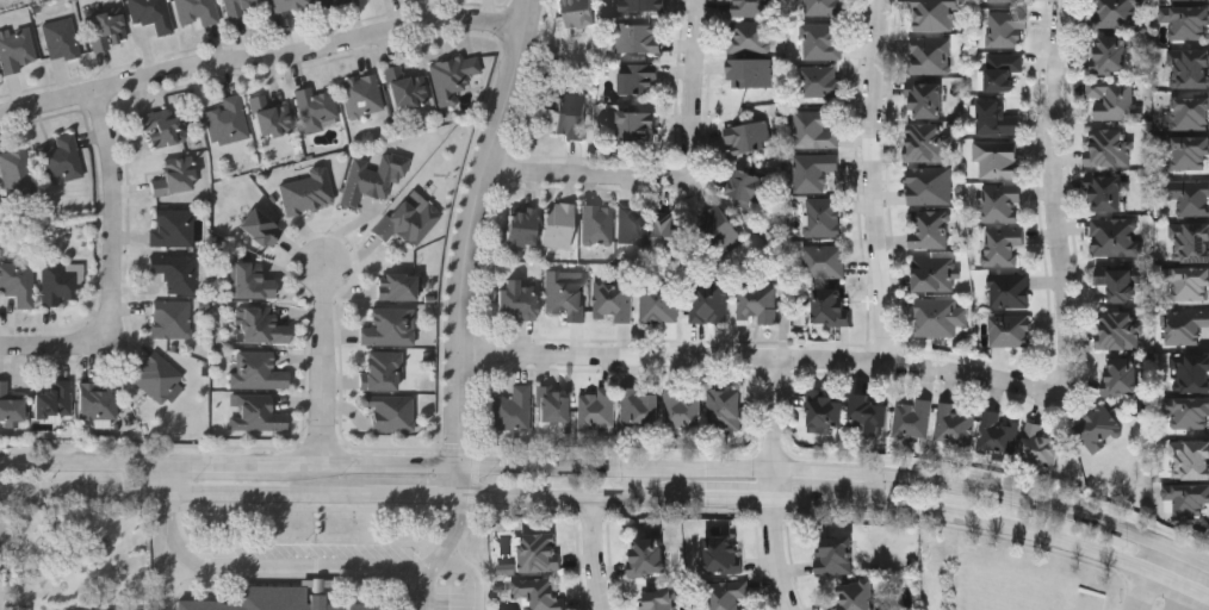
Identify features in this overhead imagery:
building: (1005, 0)
building: (1182, 0)
building: (331, 2)
building: (641, 5)
building: (289, 6)
building: (754, 7)
building: (826, 7)
building: (237, 8)
building: (198, 11)
building: (579, 12)
building: (934, 13)
building: (1116, 13)
building: (153, 14)
building: (1189, 23)
building: (1007, 27)
building: (106, 30)
building: (749, 36)
building: (638, 37)
building: (61, 39)
building: (820, 41)
building: (15, 49)
building: (1112, 54)
building: (930, 55)
road: (263, 60)
building: (1189, 68)
building: (1003, 70)
building: (750, 73)
building: (453, 76)
building: (639, 79)
building: (820, 81)
building: (405, 88)
building: (362, 95)
building: (926, 100)
building: (1114, 100)
building: (316, 108)
building: (1191, 112)
building: (571, 116)
building: (271, 117)
building: (996, 118)
building: (228, 122)
building: (635, 125)
building: (162, 129)
building: (813, 130)
building: (748, 137)
building: (926, 143)
building: (1110, 148)
building: (1189, 152)
building: (62, 158)
building: (997, 158)
building: (813, 170)
building: (18, 172)
road: (675, 173)
building: (176, 176)
building: (368, 180)
road: (874, 180)
building: (929, 185)
building: (749, 186)
building: (308, 193)
building: (1106, 193)
building: (1189, 195)
building: (1002, 203)
road: (118, 216)
building: (823, 217)
building: (407, 222)
building: (633, 224)
building: (558, 225)
building: (522, 226)
building: (172, 228)
building: (597, 228)
building: (929, 228)
building: (260, 229)
road: (479, 229)
building: (720, 230)
building: (669, 231)
building: (1117, 237)
building: (1191, 242)
building: (1003, 247)
building: (824, 260)
building: (175, 272)
building: (935, 273)
building: (250, 281)
building: (18, 282)
building: (60, 284)
building: (1190, 284)
building: (1121, 285)
building: (397, 286)
building: (1010, 290)
building: (564, 295)
building: (614, 299)
building: (708, 299)
building: (517, 300)
building: (659, 303)
building: (756, 304)
building: (830, 305)
building: (940, 316)
building: (173, 318)
building: (1185, 325)
building: (262, 326)
building: (389, 328)
building: (1010, 330)
building: (1118, 330)
road: (56, 349)
road: (328, 365)
road: (954, 369)
building: (258, 372)
building: (383, 372)
building: (1190, 373)
building: (1122, 375)
building: (157, 378)
building: (55, 402)
building: (99, 402)
building: (554, 405)
building: (10, 406)
building: (641, 406)
building: (683, 407)
building: (597, 409)
building: (725, 409)
building: (513, 410)
building: (826, 411)
building: (391, 412)
building: (255, 413)
building: (869, 413)
building: (1188, 413)
building: (913, 418)
building: (955, 423)
building: (1098, 429)
building: (999, 432)
building: (1038, 444)
road: (21, 460)
building: (1190, 460)
road: (106, 461)
road: (229, 462)
road: (376, 463)
road: (584, 465)
road: (169, 477)
road: (464, 479)
road: (773, 484)
road: (963, 484)
road: (21, 490)
road: (253, 492)
road: (584, 494)
building: (1185, 499)
road: (963, 513)
building: (539, 550)
road: (451, 552)
road: (594, 552)
building: (723, 554)
building: (646, 555)
building: (836, 555)
building: (0, 565)
building: (507, 568)
road: (275, 571)
road: (166, 572)
road: (472, 577)
road: (1151, 577)
building: (539, 592)
building: (727, 595)
building: (856, 596)
road: (1188, 598)
building: (658, 599)
building: (259, 603)
building: (23, 609)

